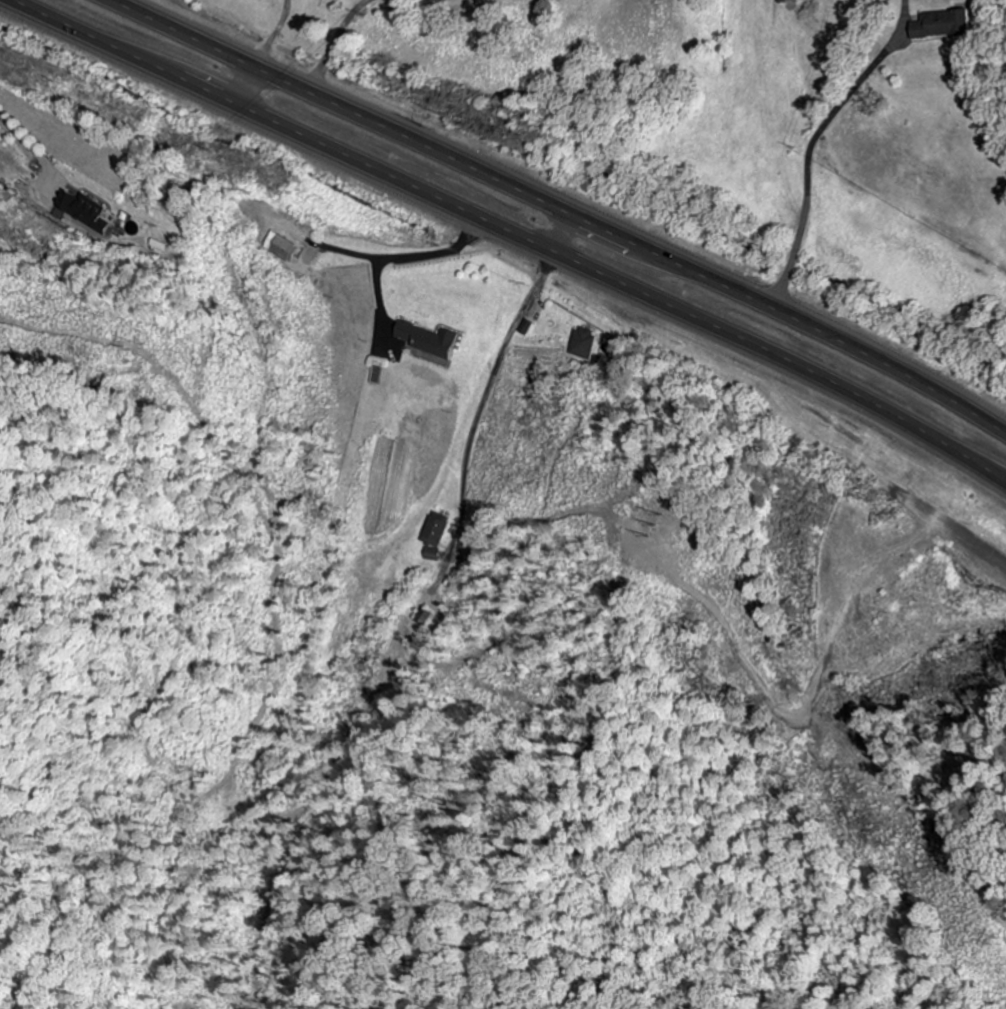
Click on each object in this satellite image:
building: (789, 1)
building: (947, 25)
road: (563, 207)
building: (90, 214)
road: (507, 235)
building: (431, 339)
building: (585, 344)
road: (954, 530)
building: (436, 531)

